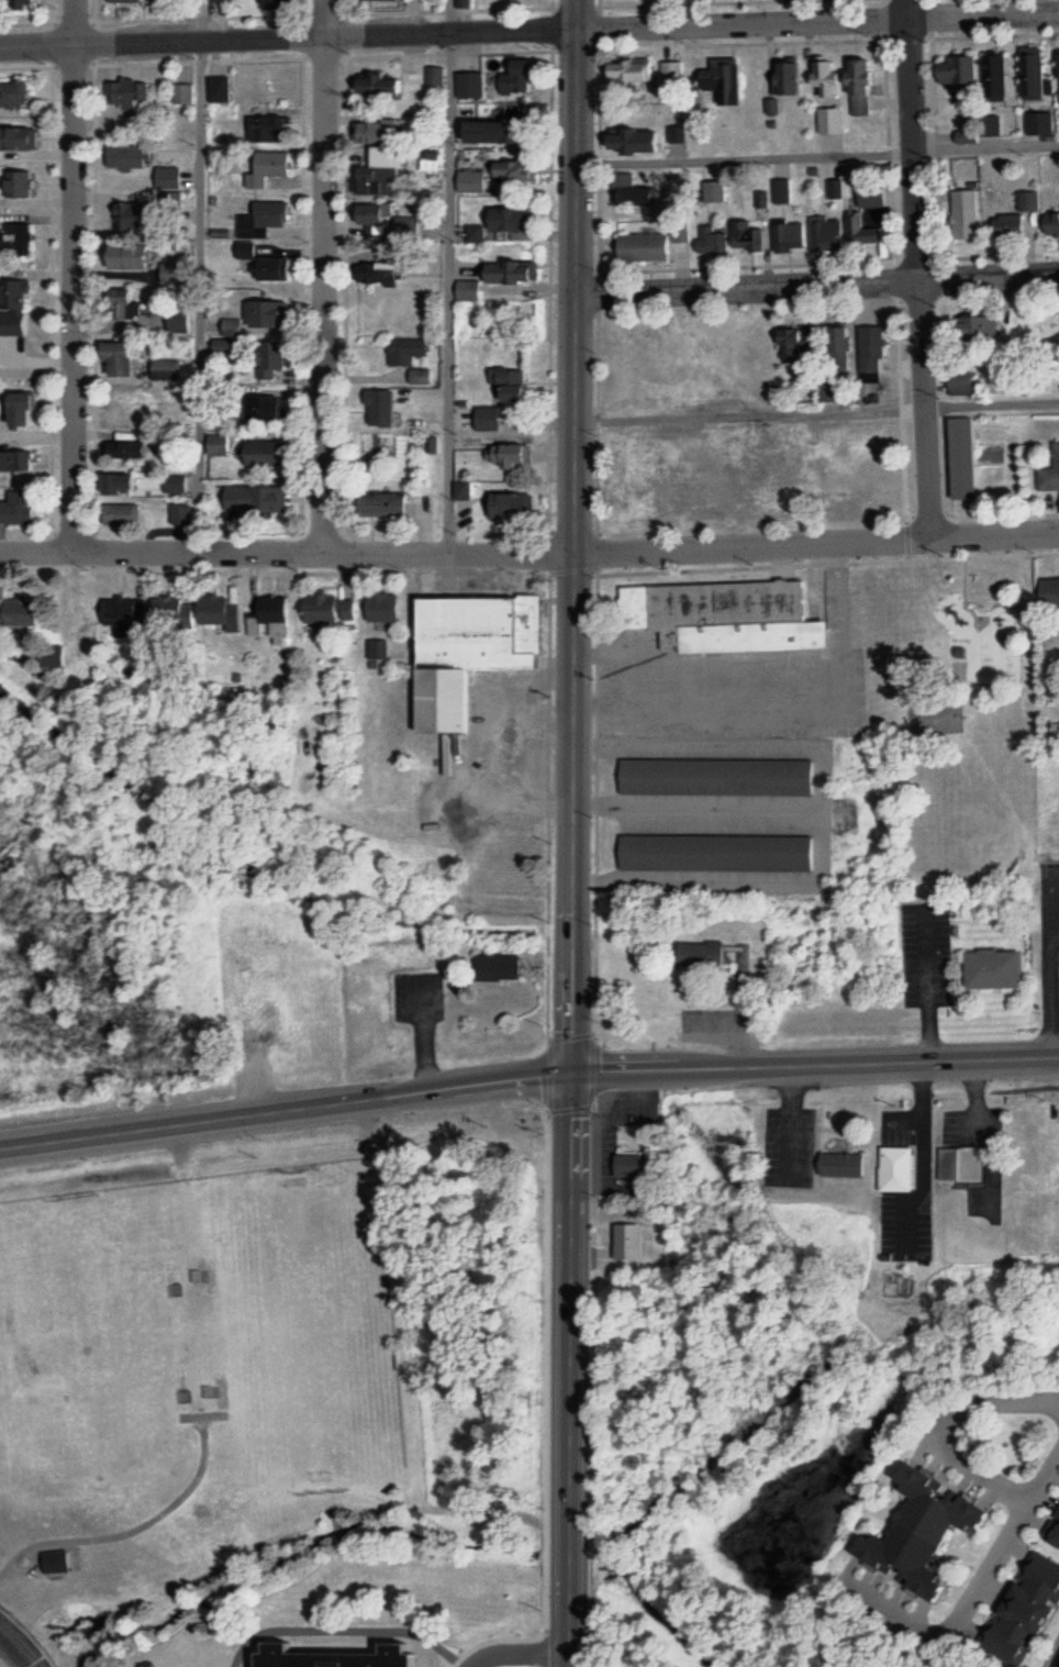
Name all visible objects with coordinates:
building: (132, 1)
building: (324, 1)
building: (282, 2)
building: (27, 3)
building: (466, 3)
road: (817, 24)
road: (288, 37)
building: (950, 69)
building: (646, 70)
building: (1027, 73)
building: (435, 76)
building: (991, 76)
building: (1056, 76)
building: (820, 77)
building: (714, 79)
building: (781, 81)
building: (519, 82)
building: (475, 85)
building: (386, 86)
building: (857, 87)
building: (222, 89)
building: (187, 92)
building: (136, 93)
building: (16, 95)
building: (825, 120)
building: (1035, 122)
building: (270, 127)
building: (494, 131)
building: (380, 132)
building: (644, 137)
building: (20, 141)
building: (135, 156)
road: (816, 156)
building: (271, 167)
building: (519, 170)
building: (383, 173)
building: (172, 177)
building: (477, 181)
building: (21, 185)
building: (1023, 200)
building: (961, 213)
building: (147, 216)
building: (266, 218)
building: (376, 219)
building: (519, 220)
building: (850, 225)
building: (1004, 225)
building: (677, 232)
building: (783, 233)
building: (821, 233)
building: (16, 237)
building: (742, 237)
building: (706, 240)
building: (643, 246)
building: (249, 248)
building: (136, 255)
building: (278, 267)
road: (921, 268)
building: (515, 271)
building: (391, 273)
road: (73, 277)
road: (200, 277)
road: (324, 277)
road: (449, 278)
road: (816, 286)
building: (472, 289)
building: (19, 294)
building: (134, 304)
building: (274, 313)
building: (183, 321)
building: (235, 326)
building: (969, 326)
building: (832, 348)
building: (866, 348)
building: (411, 349)
building: (127, 357)
building: (274, 358)
building: (169, 369)
building: (957, 384)
building: (519, 385)
building: (27, 409)
building: (270, 409)
building: (384, 409)
road: (816, 414)
building: (493, 418)
building: (222, 444)
building: (143, 449)
building: (269, 454)
building: (513, 454)
building: (956, 457)
building: (19, 463)
building: (1048, 470)
building: (713, 479)
building: (126, 484)
building: (179, 484)
building: (466, 490)
building: (261, 498)
building: (391, 503)
building: (515, 505)
building: (21, 508)
building: (127, 514)
road: (37, 554)
road: (567, 556)
building: (1046, 591)
building: (388, 607)
building: (222, 608)
building: (334, 608)
building: (177, 610)
building: (277, 610)
building: (726, 612)
building: (473, 645)
building: (384, 649)
road: (614, 652)
road: (789, 701)
park: (948, 714)
park: (929, 715)
road: (534, 726)
road: (489, 740)
road: (726, 747)
building: (715, 773)
road: (575, 833)
road: (821, 842)
building: (717, 848)
railway: (495, 916)
building: (694, 955)
building: (490, 966)
building: (994, 966)
road: (1048, 969)
road: (923, 988)
road: (737, 1025)
road: (527, 1080)
road: (789, 1124)
road: (985, 1133)
road: (923, 1158)
building: (960, 1159)
building: (843, 1160)
building: (625, 1164)
building: (896, 1165)
building: (624, 1240)
park: (310, 1326)
park: (81, 1351)
road: (988, 1401)
road: (1046, 1479)
building: (913, 1529)
road: (133, 1531)
building: (1052, 1531)
building: (60, 1560)
road: (991, 1571)
building: (1019, 1609)
road: (343, 1626)
road: (19, 1647)
road: (517, 1648)
building: (331, 1655)

